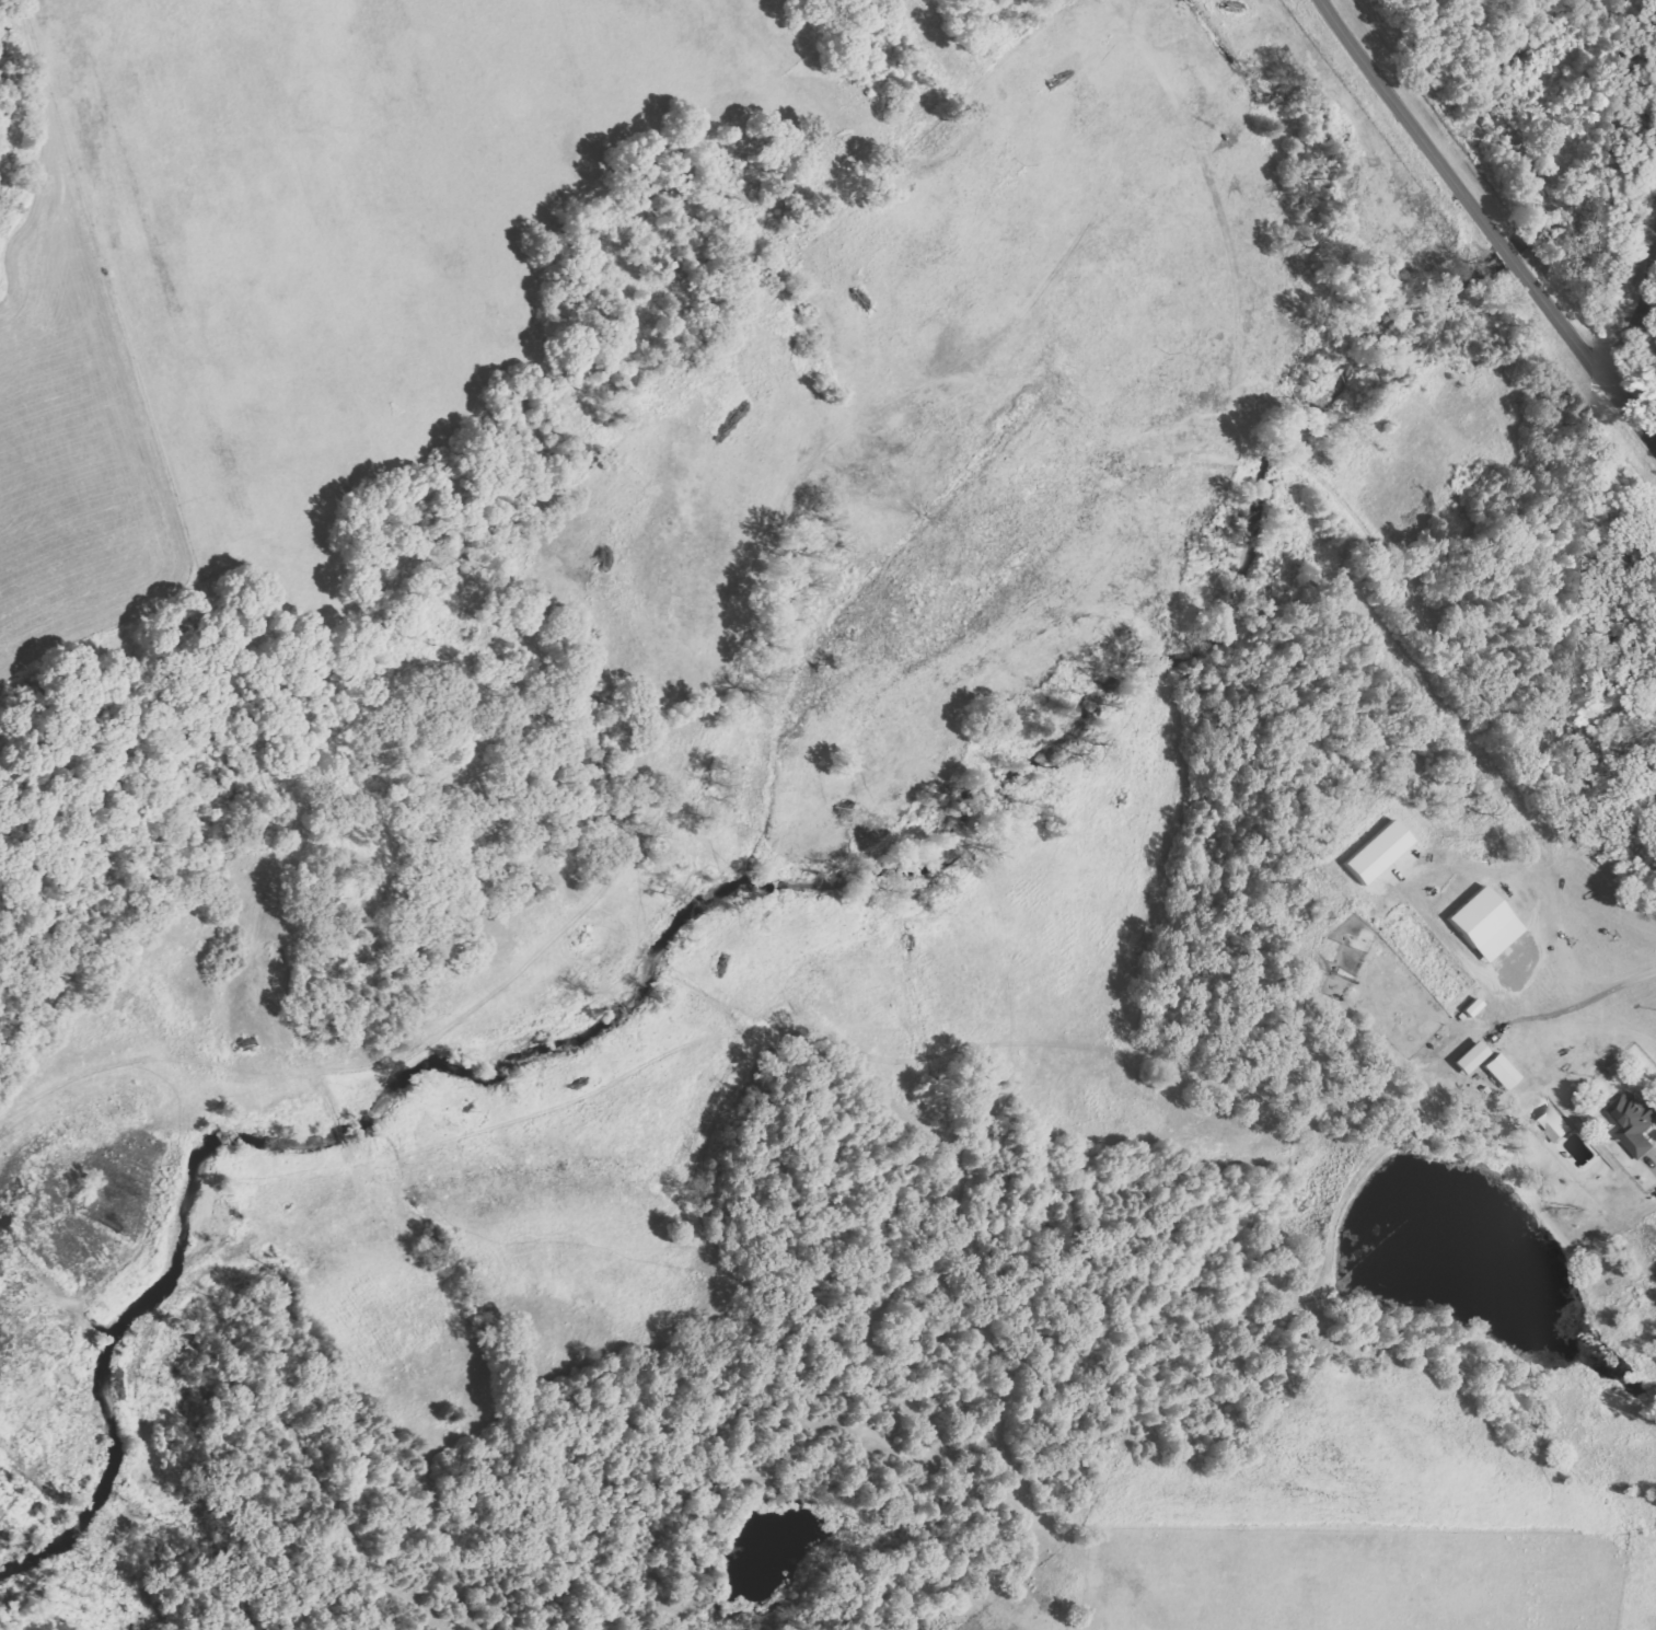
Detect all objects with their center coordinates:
road: (1491, 220)
road: (1636, 310)
building: (1486, 923)
building: (1472, 1057)
building: (1502, 1072)
building: (1635, 1123)
building: (1554, 1124)

